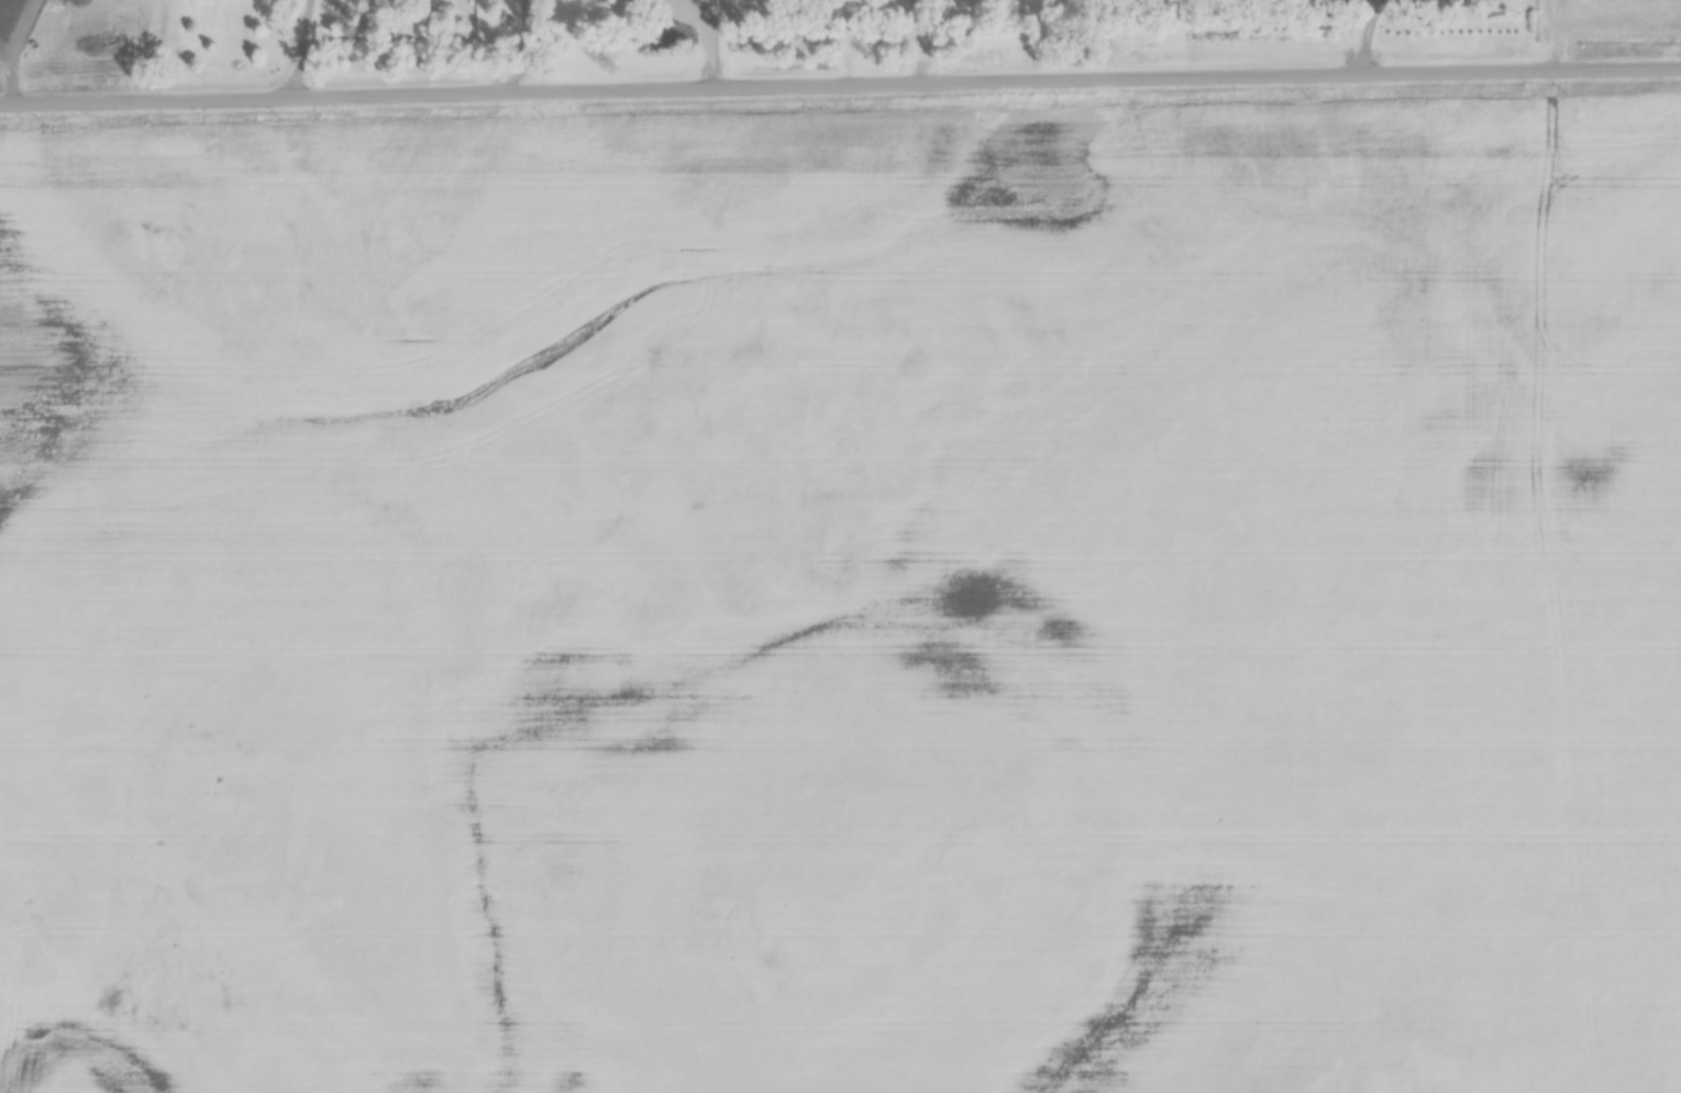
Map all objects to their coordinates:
road: (520, 44)
road: (308, 46)
road: (840, 81)

